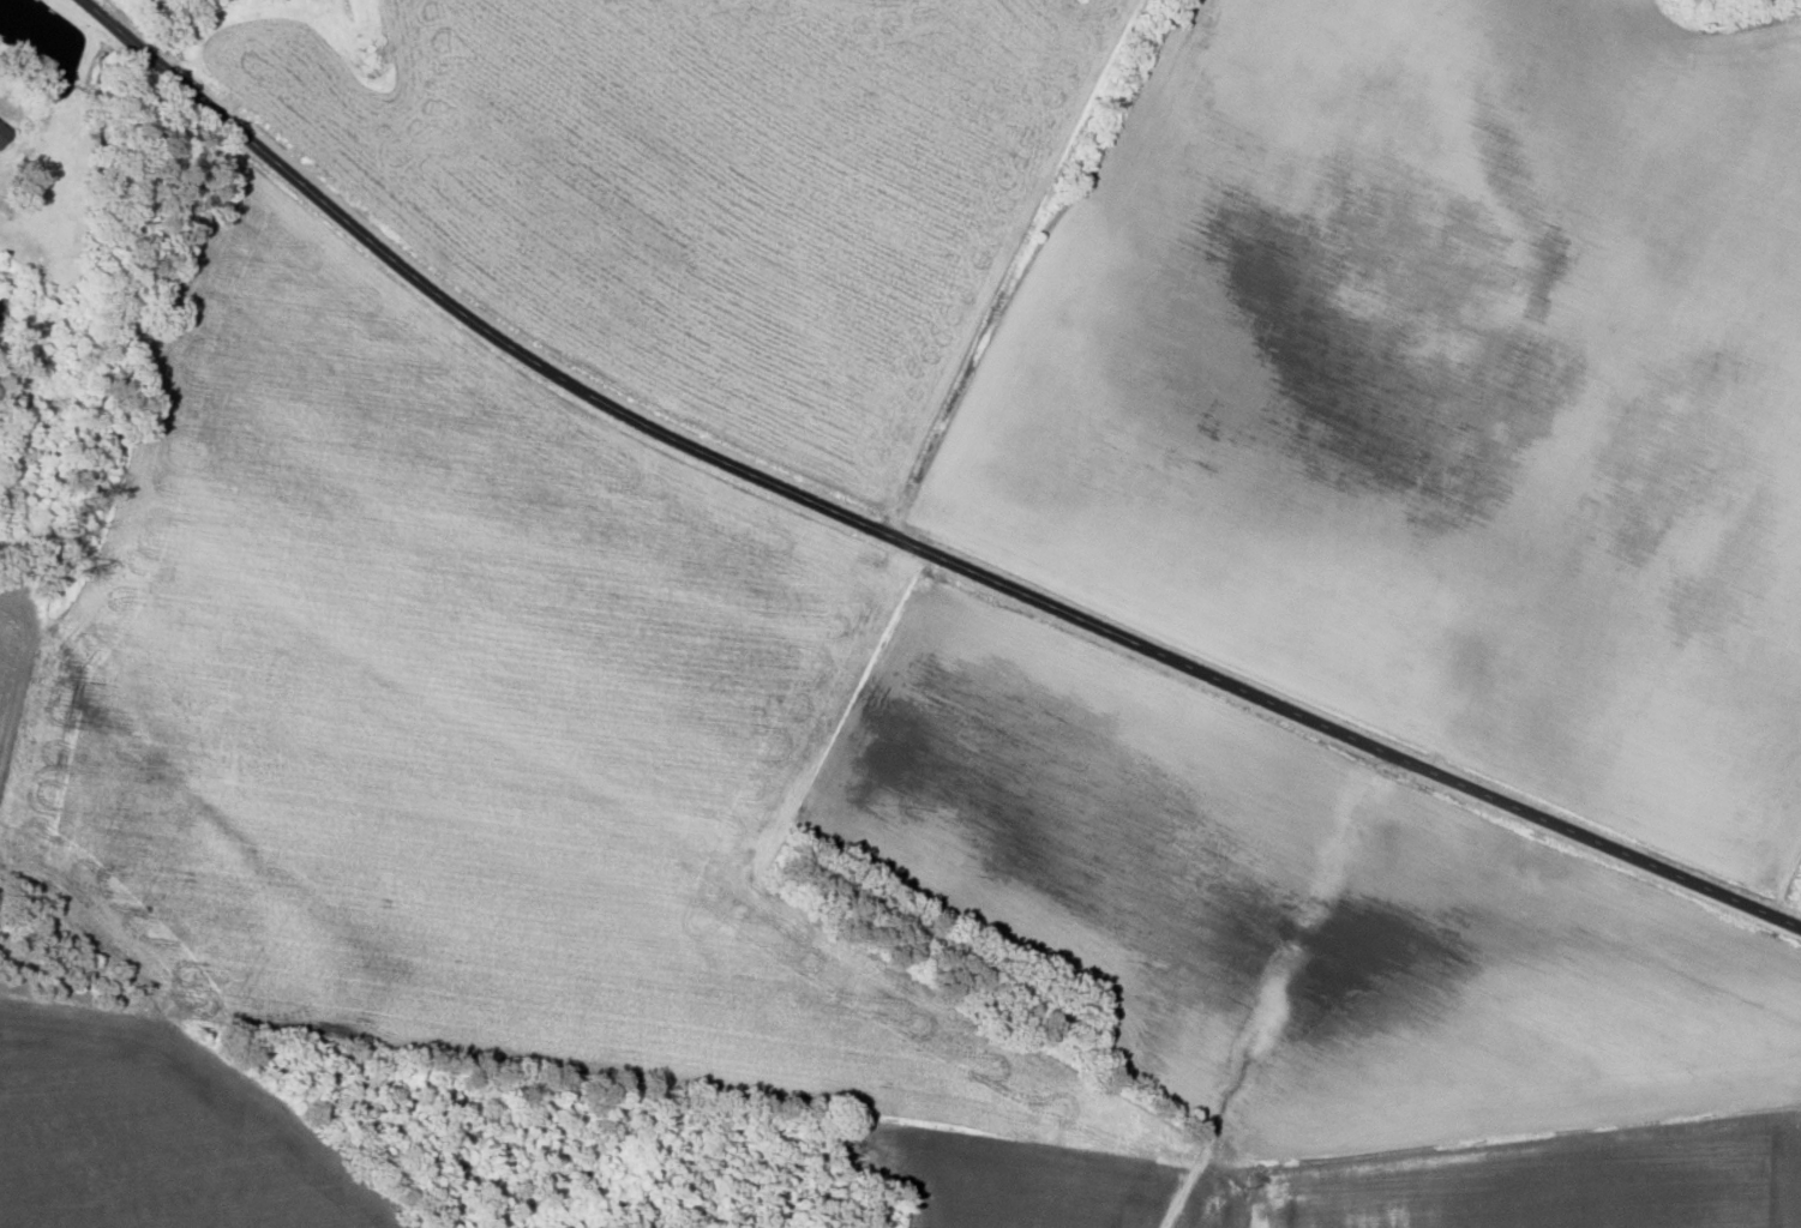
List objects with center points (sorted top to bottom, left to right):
building: (1, 132)
road: (898, 538)
road: (1273, 991)

